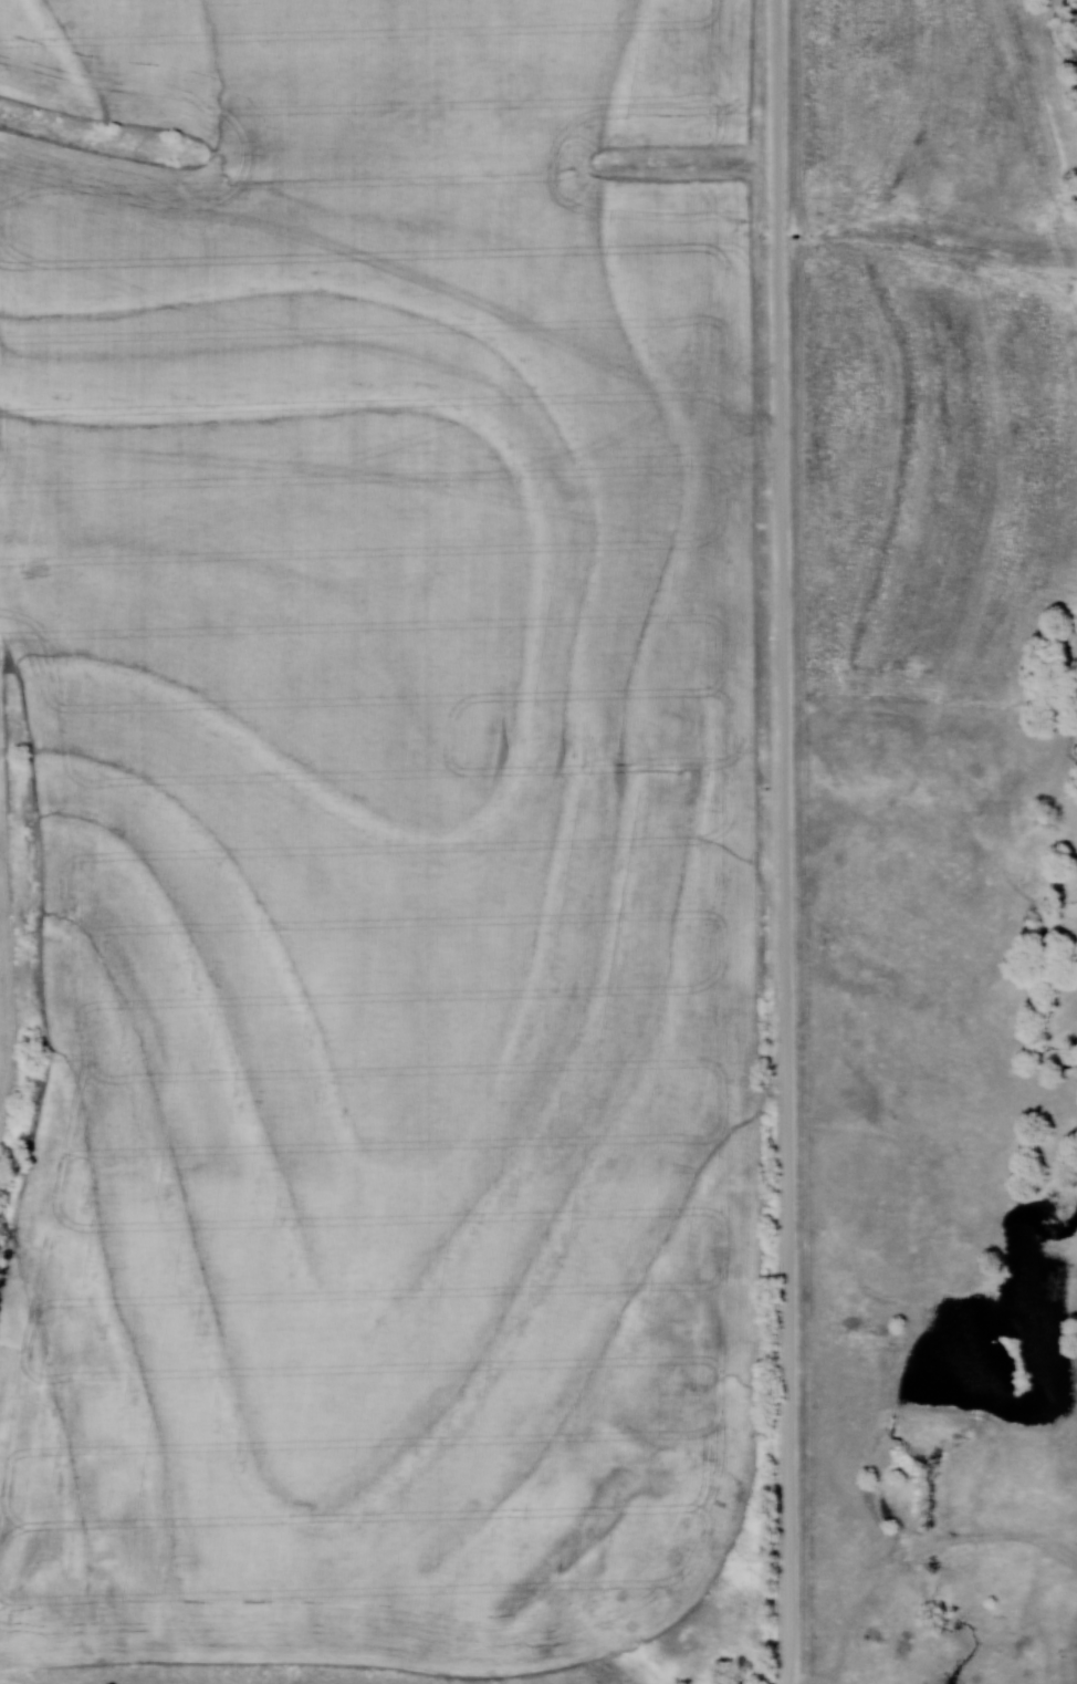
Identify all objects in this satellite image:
road: (788, 842)

